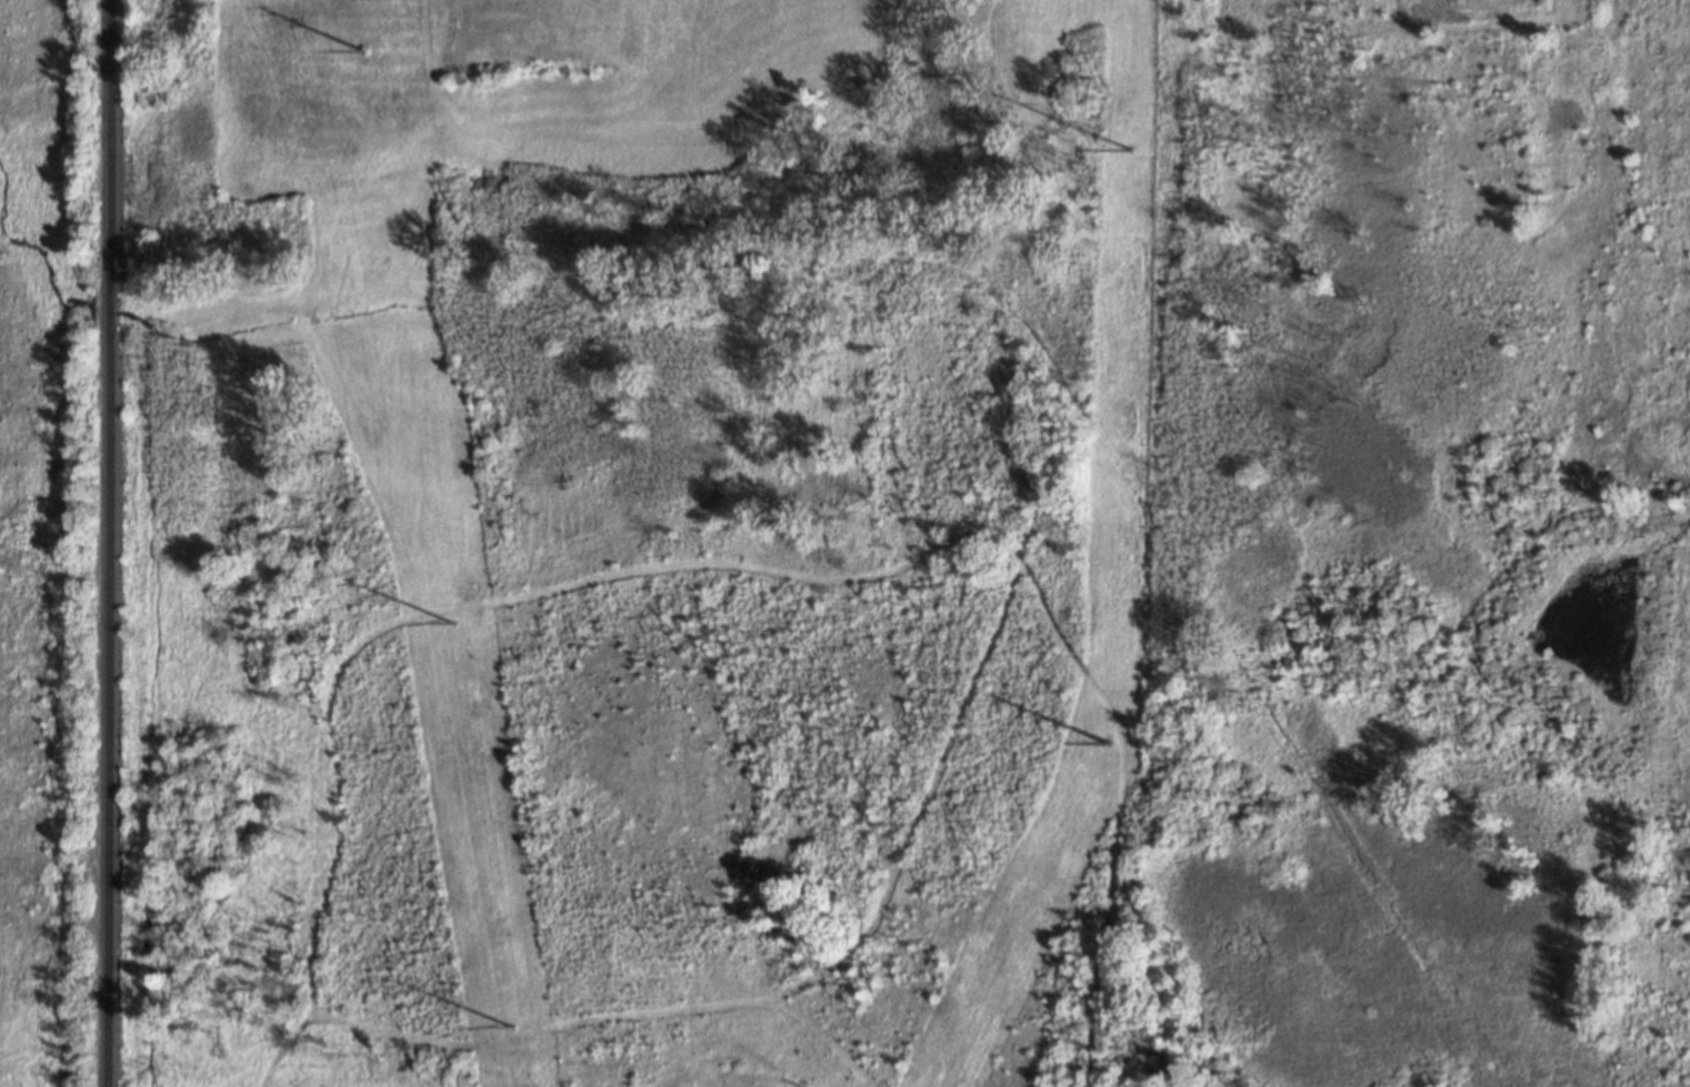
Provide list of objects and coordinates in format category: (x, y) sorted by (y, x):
power tower: (362, 53)
power tower: (1129, 147)
railway: (109, 543)
power tower: (19, 563)
power tower: (449, 623)
power tower: (1106, 741)
power tower: (513, 1028)

